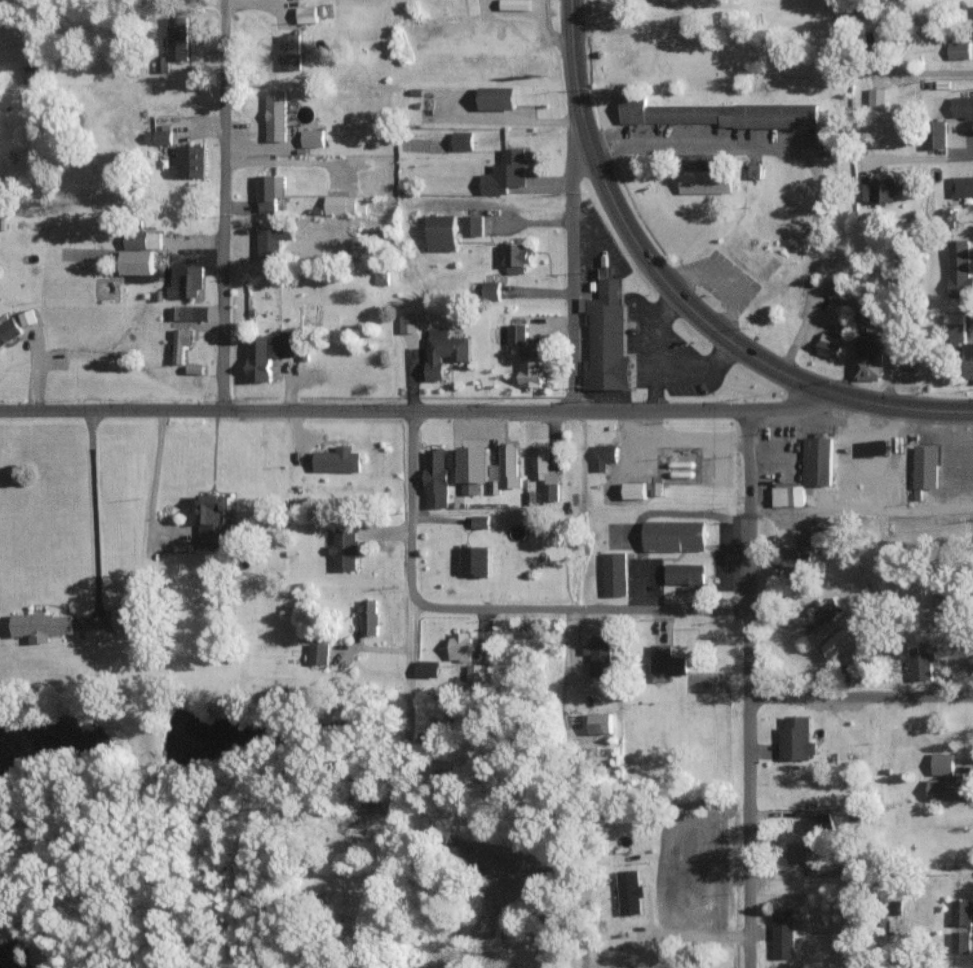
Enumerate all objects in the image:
building: (306, 14)
building: (868, 21)
building: (888, 34)
building: (177, 38)
building: (959, 50)
building: (290, 51)
building: (162, 63)
road: (574, 64)
building: (32, 74)
building: (496, 98)
building: (962, 106)
building: (718, 114)
building: (275, 115)
building: (935, 134)
building: (157, 136)
building: (312, 137)
building: (462, 140)
road: (926, 157)
road: (809, 158)
building: (188, 160)
building: (505, 171)
building: (705, 181)
building: (961, 185)
building: (877, 189)
building: (269, 190)
building: (345, 204)
road: (223, 205)
road: (508, 216)
building: (472, 224)
building: (441, 232)
building: (271, 236)
building: (142, 239)
building: (517, 257)
building: (135, 260)
road: (577, 266)
building: (959, 267)
road: (657, 268)
building: (381, 276)
building: (185, 279)
building: (490, 290)
building: (838, 292)
building: (189, 312)
building: (27, 316)
building: (408, 321)
building: (954, 327)
building: (7, 328)
building: (517, 332)
building: (608, 337)
building: (180, 342)
building: (828, 344)
building: (444, 349)
building: (266, 352)
building: (867, 355)
building: (968, 359)
building: (530, 370)
road: (874, 402)
road: (423, 410)
building: (604, 455)
building: (337, 459)
building: (818, 461)
building: (927, 467)
building: (486, 468)
building: (544, 472)
building: (435, 477)
building: (634, 489)
building: (787, 494)
road: (411, 509)
road: (89, 516)
building: (212, 518)
building: (479, 520)
building: (674, 535)
building: (345, 549)
building: (795, 553)
building: (473, 559)
building: (614, 573)
building: (686, 574)
building: (831, 607)
road: (580, 608)
building: (368, 615)
building: (124, 618)
building: (40, 625)
building: (837, 643)
building: (459, 645)
building: (318, 653)
building: (599, 655)
building: (665, 662)
building: (921, 664)
building: (427, 668)
building: (475, 671)
road: (748, 688)
road: (861, 697)
road: (411, 710)
building: (600, 722)
building: (795, 738)
building: (942, 762)
building: (945, 789)
building: (818, 823)
road: (304, 833)
building: (798, 852)
building: (629, 892)
building: (962, 911)
building: (782, 933)
building: (960, 941)

